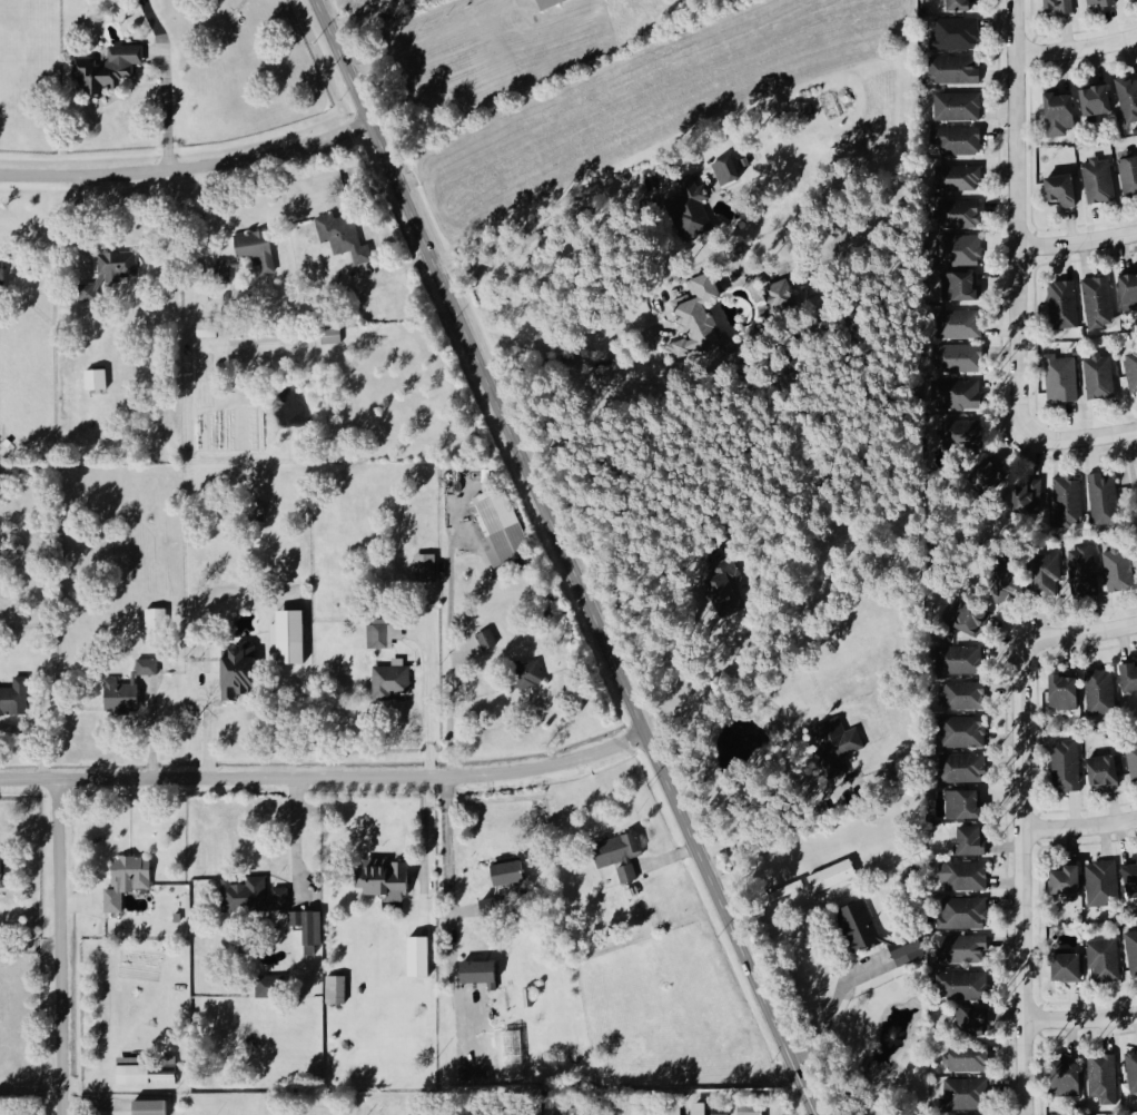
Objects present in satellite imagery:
building: (1106, 1)
building: (965, 4)
building: (1061, 6)
building: (957, 32)
road: (1076, 48)
building: (126, 57)
building: (88, 69)
building: (957, 69)
building: (1129, 97)
building: (1100, 98)
building: (958, 105)
building: (1062, 112)
road: (165, 116)
building: (943, 136)
road: (187, 166)
building: (731, 169)
building: (1129, 172)
building: (960, 176)
building: (1100, 179)
building: (1066, 188)
building: (692, 197)
building: (961, 215)
road: (1015, 218)
road: (544, 227)
building: (345, 235)
road: (1076, 241)
building: (258, 243)
building: (962, 248)
building: (119, 263)
building: (224, 268)
building: (1067, 284)
building: (963, 285)
building: (1130, 289)
building: (91, 293)
building: (1100, 300)
building: (703, 308)
building: (961, 323)
building: (205, 330)
building: (328, 336)
building: (676, 347)
building: (960, 357)
building: (1133, 369)
building: (1101, 376)
building: (1062, 377)
building: (95, 381)
building: (965, 394)
building: (973, 434)
road: (1079, 438)
road: (1135, 440)
building: (992, 476)
building: (1034, 493)
building: (1105, 499)
building: (1069, 500)
building: (503, 525)
road: (564, 556)
building: (423, 568)
building: (1084, 570)
building: (1020, 581)
road: (640, 582)
building: (1118, 583)
building: (723, 585)
building: (975, 614)
building: (154, 625)
building: (396, 630)
road: (1076, 633)
building: (378, 635)
building: (288, 637)
building: (488, 639)
building: (963, 659)
building: (146, 665)
building: (532, 671)
building: (243, 672)
building: (1130, 675)
building: (392, 680)
building: (1101, 690)
building: (1068, 691)
building: (966, 694)
building: (14, 697)
road: (425, 704)
road: (448, 711)
road: (207, 728)
building: (965, 731)
building: (842, 736)
building: (1068, 764)
building: (962, 767)
building: (1105, 769)
road: (324, 777)
building: (966, 803)
road: (769, 813)
road: (1077, 826)
road: (294, 837)
building: (975, 840)
building: (623, 846)
road: (424, 848)
building: (3, 869)
building: (514, 871)
building: (1133, 875)
building: (830, 876)
building: (966, 876)
building: (387, 878)
road: (1017, 879)
building: (128, 880)
building: (1071, 880)
building: (1103, 882)
building: (783, 890)
building: (246, 891)
building: (281, 898)
building: (963, 912)
road: (448, 921)
building: (861, 925)
building: (312, 928)
building: (1133, 946)
road: (58, 947)
building: (962, 948)
building: (908, 949)
building: (417, 956)
building: (1106, 957)
building: (1071, 966)
building: (482, 971)
building: (966, 985)
building: (267, 986)
building: (334, 990)
road: (832, 1008)
building: (977, 1020)
road: (1077, 1020)
building: (510, 1047)
building: (971, 1060)
building: (1133, 1064)
building: (1070, 1072)
building: (149, 1077)
building: (1106, 1077)
building: (966, 1093)
building: (148, 1107)
building: (749, 1107)
building: (672, 1108)
building: (696, 1109)
building: (718, 1112)

